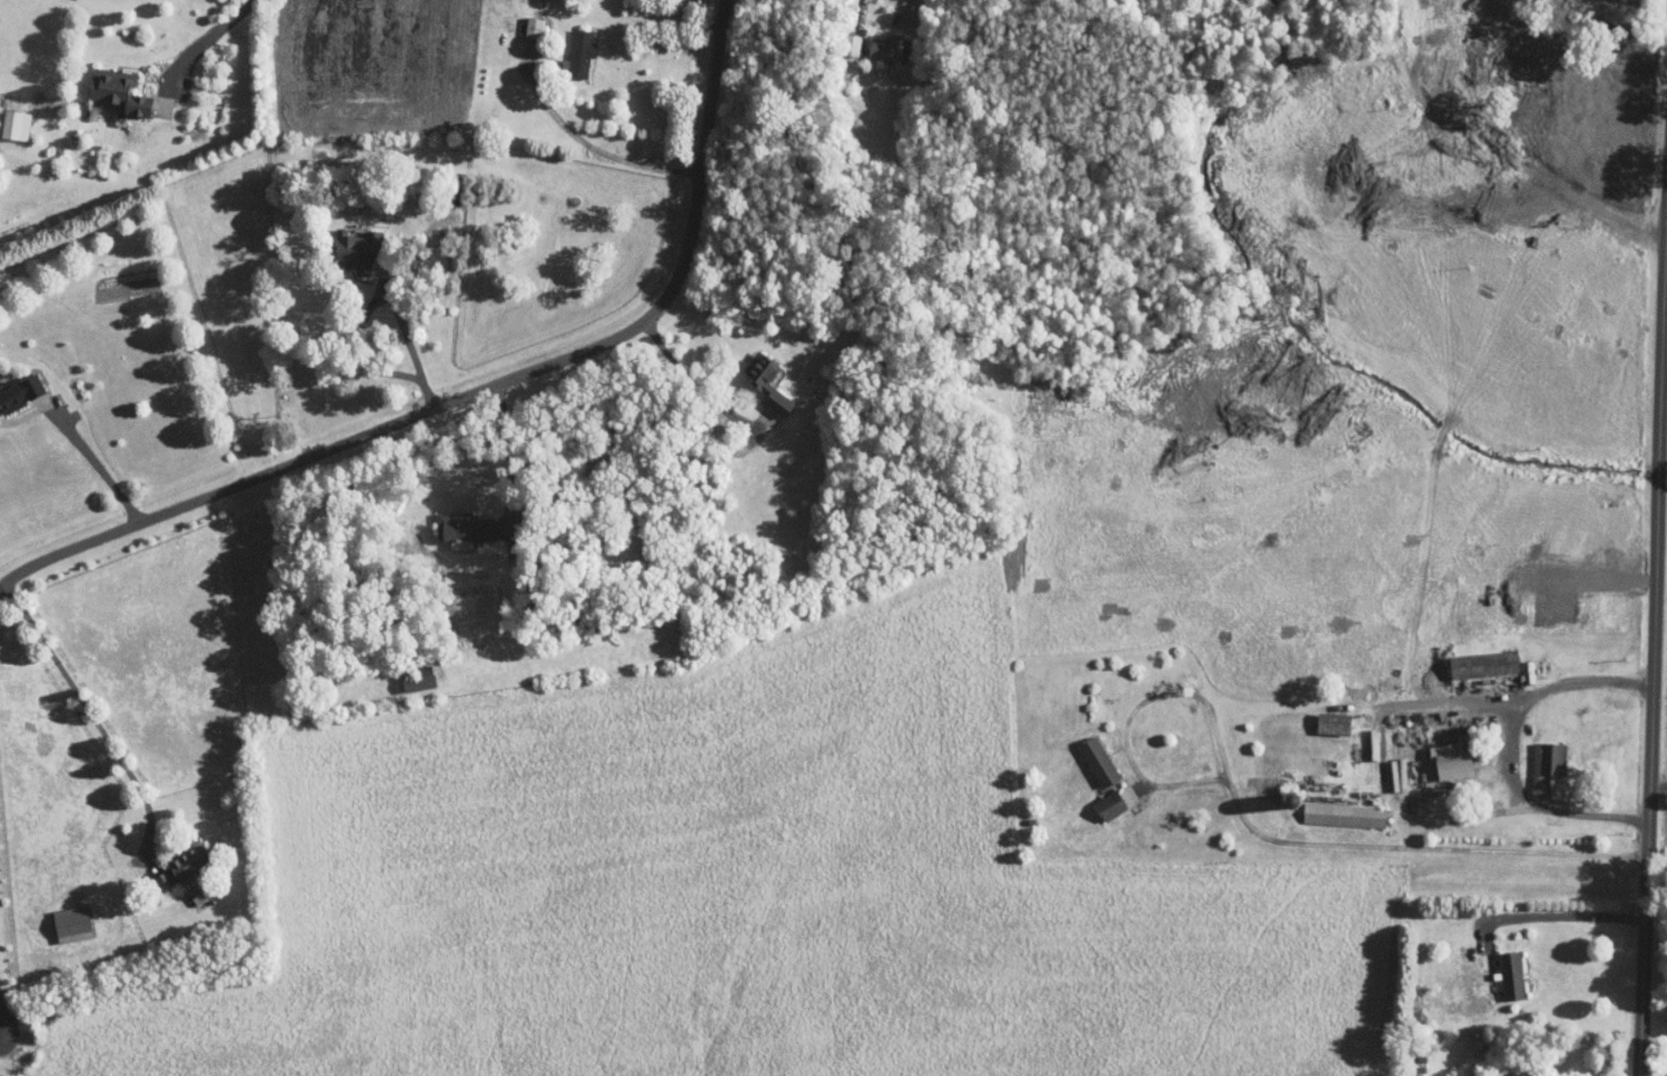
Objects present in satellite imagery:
road: (712, 6)
road: (852, 11)
building: (520, 20)
road: (270, 24)
building: (876, 42)
building: (566, 47)
road: (209, 53)
building: (106, 84)
building: (8, 118)
road: (579, 140)
road: (1524, 151)
building: (345, 243)
road: (376, 296)
building: (754, 376)
building: (13, 382)
road: (480, 387)
road: (721, 408)
road: (81, 441)
road: (509, 450)
building: (449, 521)
road: (1654, 656)
building: (1471, 657)
building: (406, 672)
road: (1616, 678)
road: (92, 716)
building: (1321, 717)
building: (1440, 753)
building: (1085, 755)
building: (1536, 755)
road: (1518, 784)
building: (1098, 798)
building: (1331, 808)
road: (1260, 834)
building: (173, 854)
building: (150, 875)
road: (1657, 889)
road: (1566, 914)
building: (59, 917)
building: (1499, 969)
road: (1655, 1054)
building: (1495, 1074)

